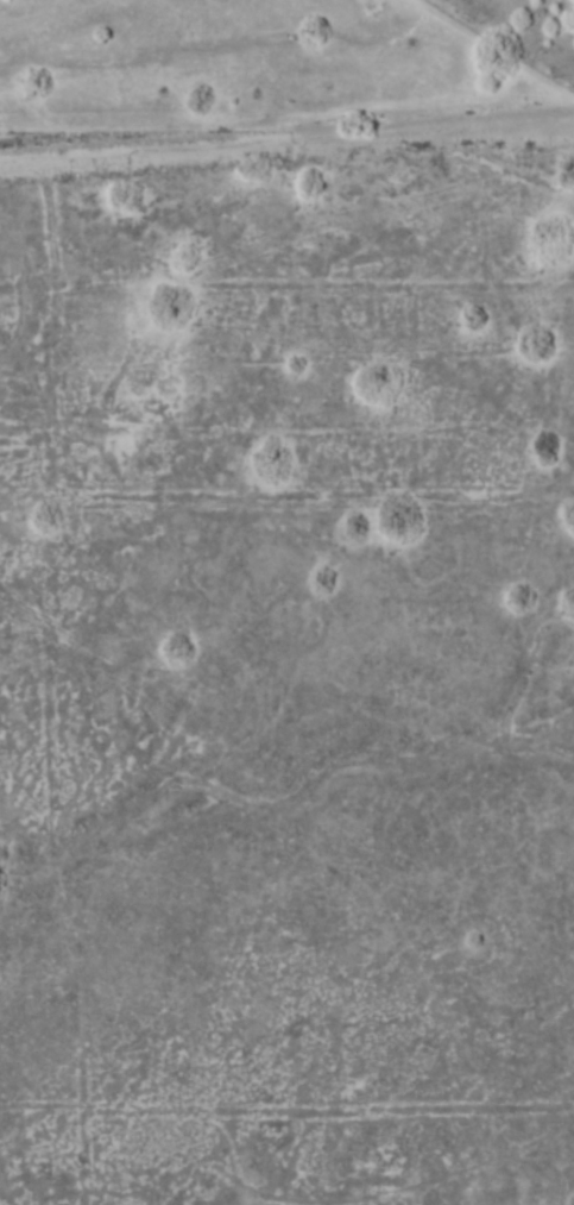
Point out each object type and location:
road: (286, 131)

